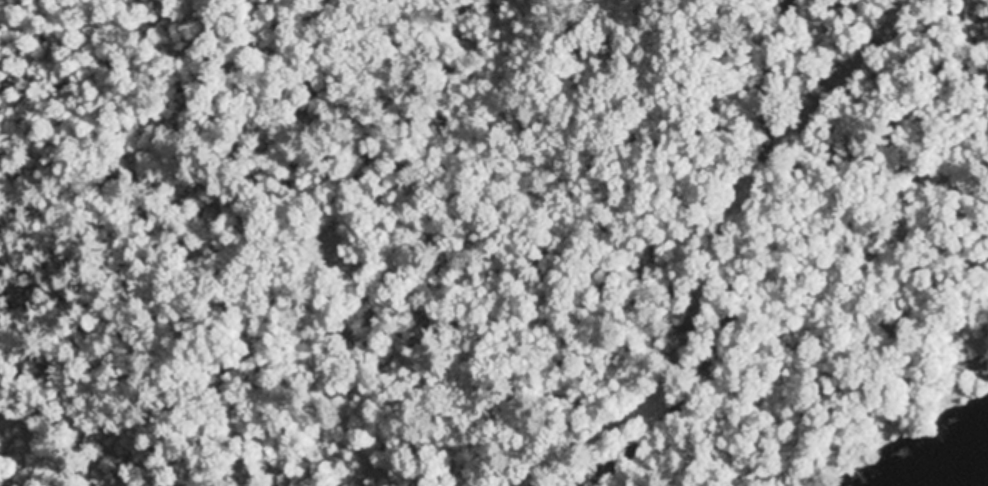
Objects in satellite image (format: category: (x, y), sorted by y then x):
road: (736, 284)
river: (968, 472)

